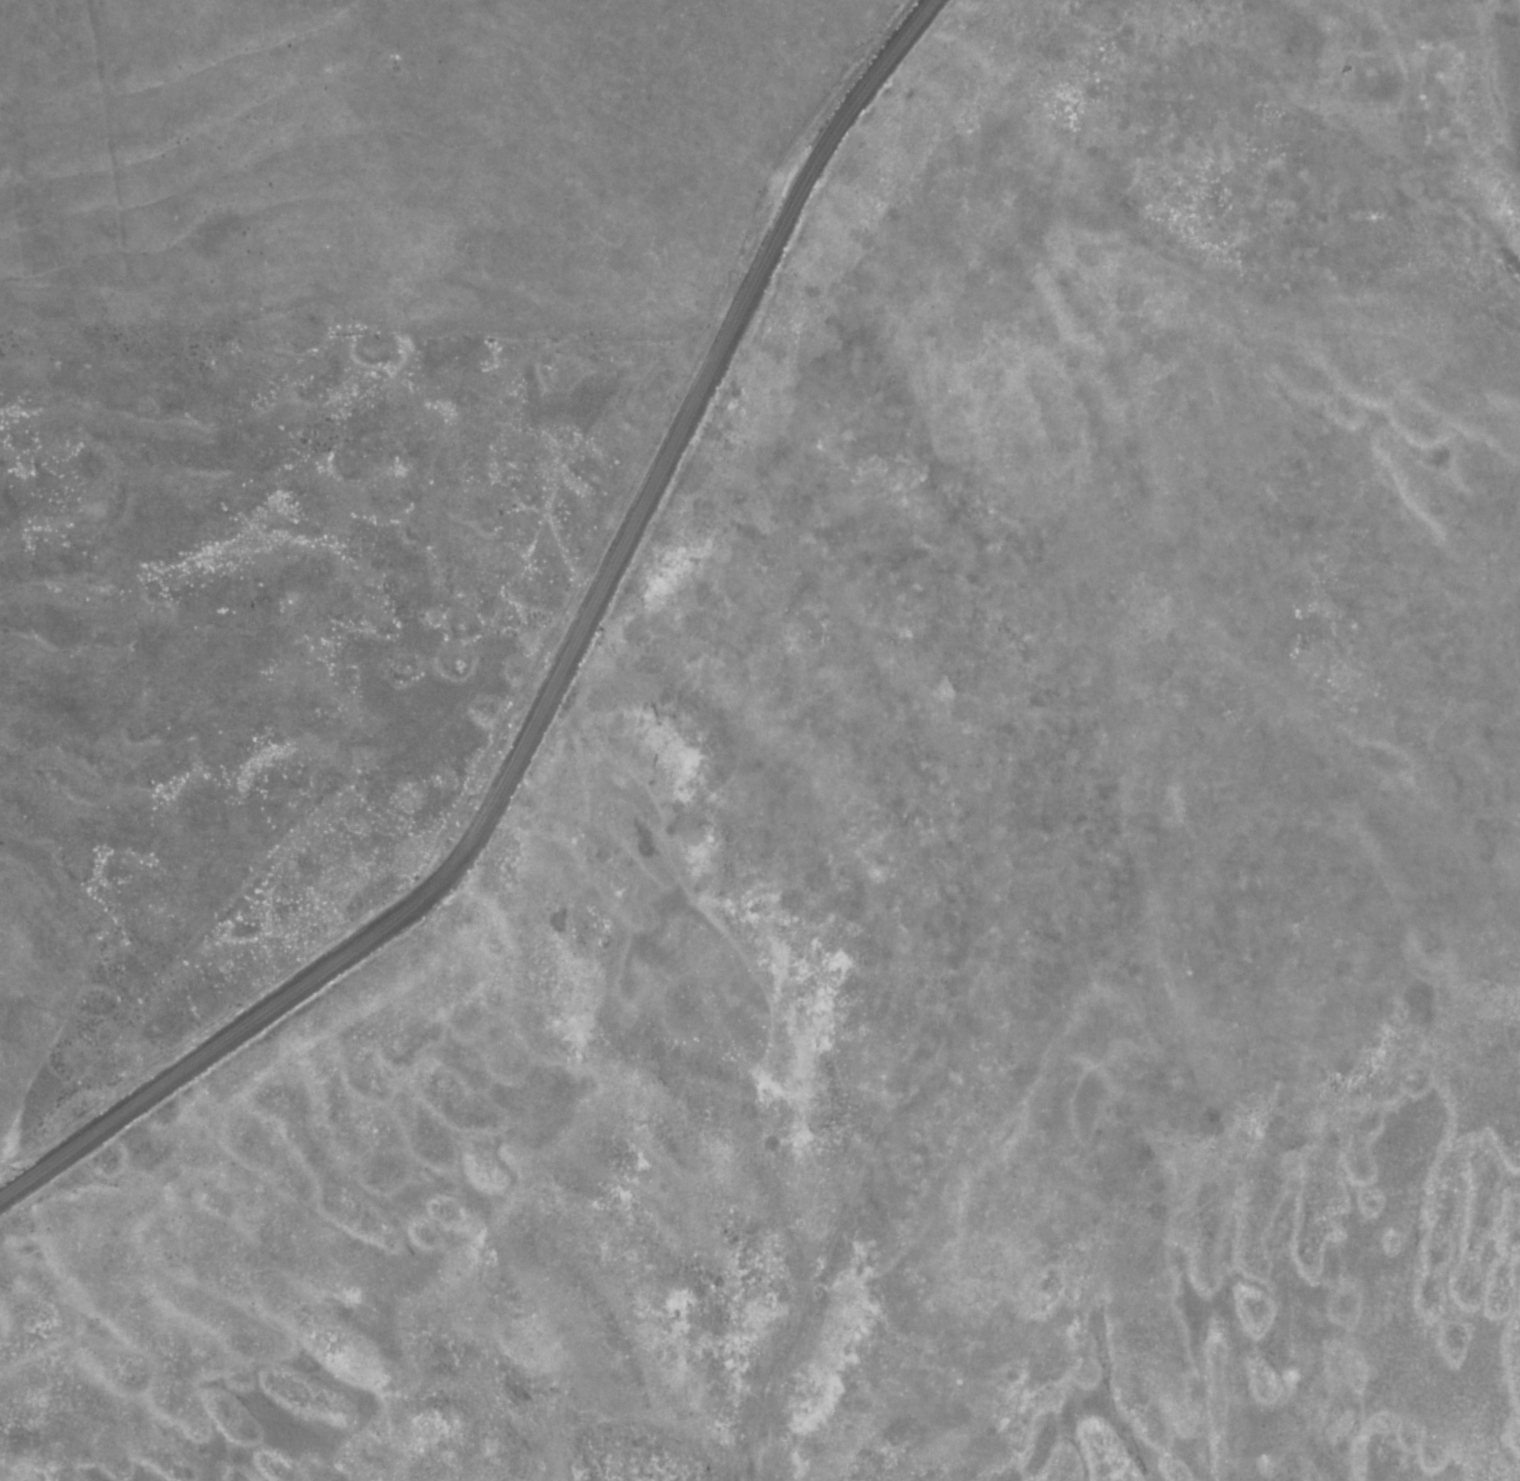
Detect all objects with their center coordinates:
road: (554, 676)

